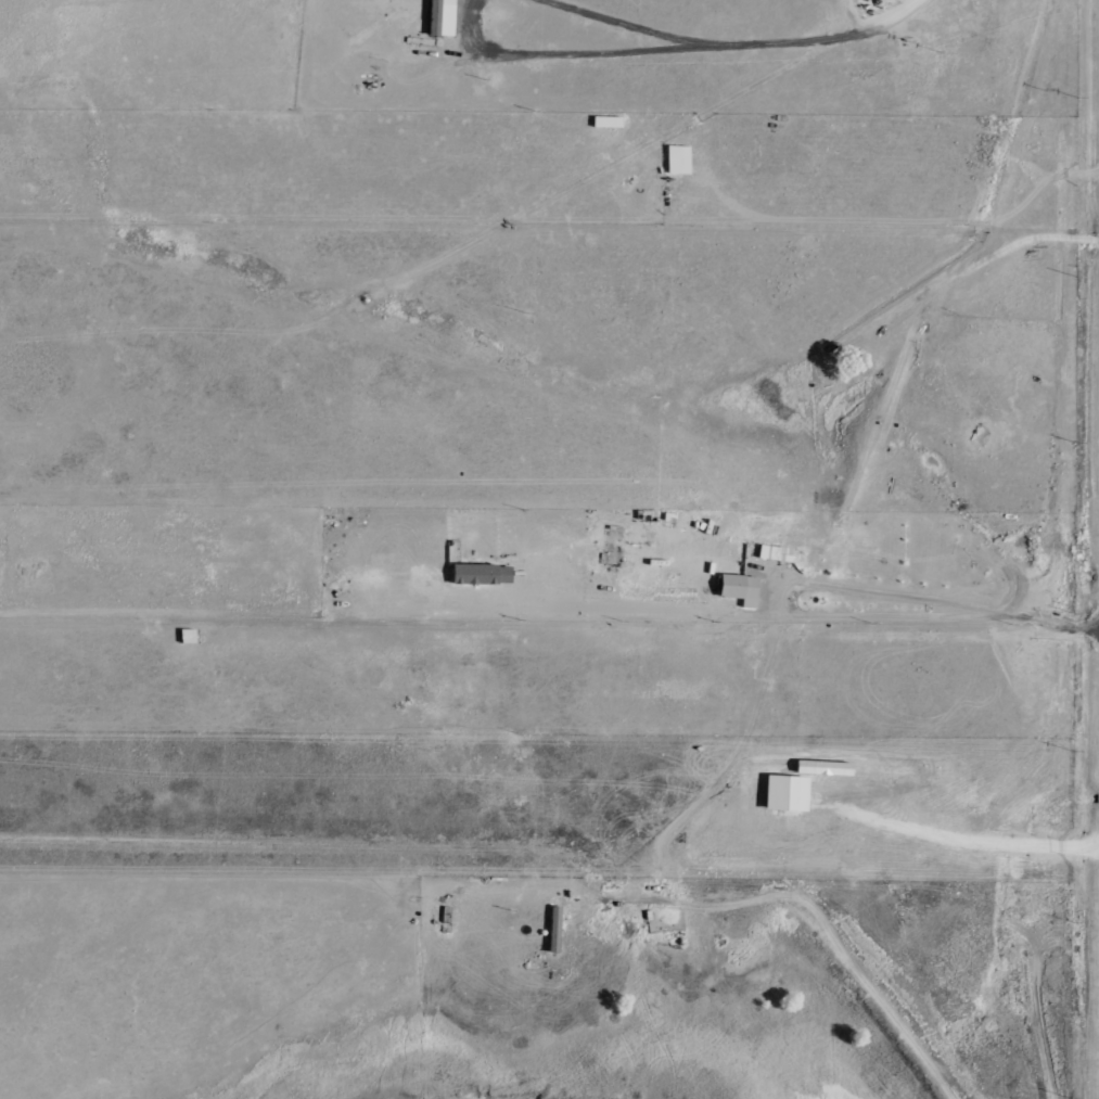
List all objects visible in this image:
building: (444, 17)
building: (680, 159)
building: (477, 575)
building: (736, 586)
building: (190, 637)
building: (551, 929)

